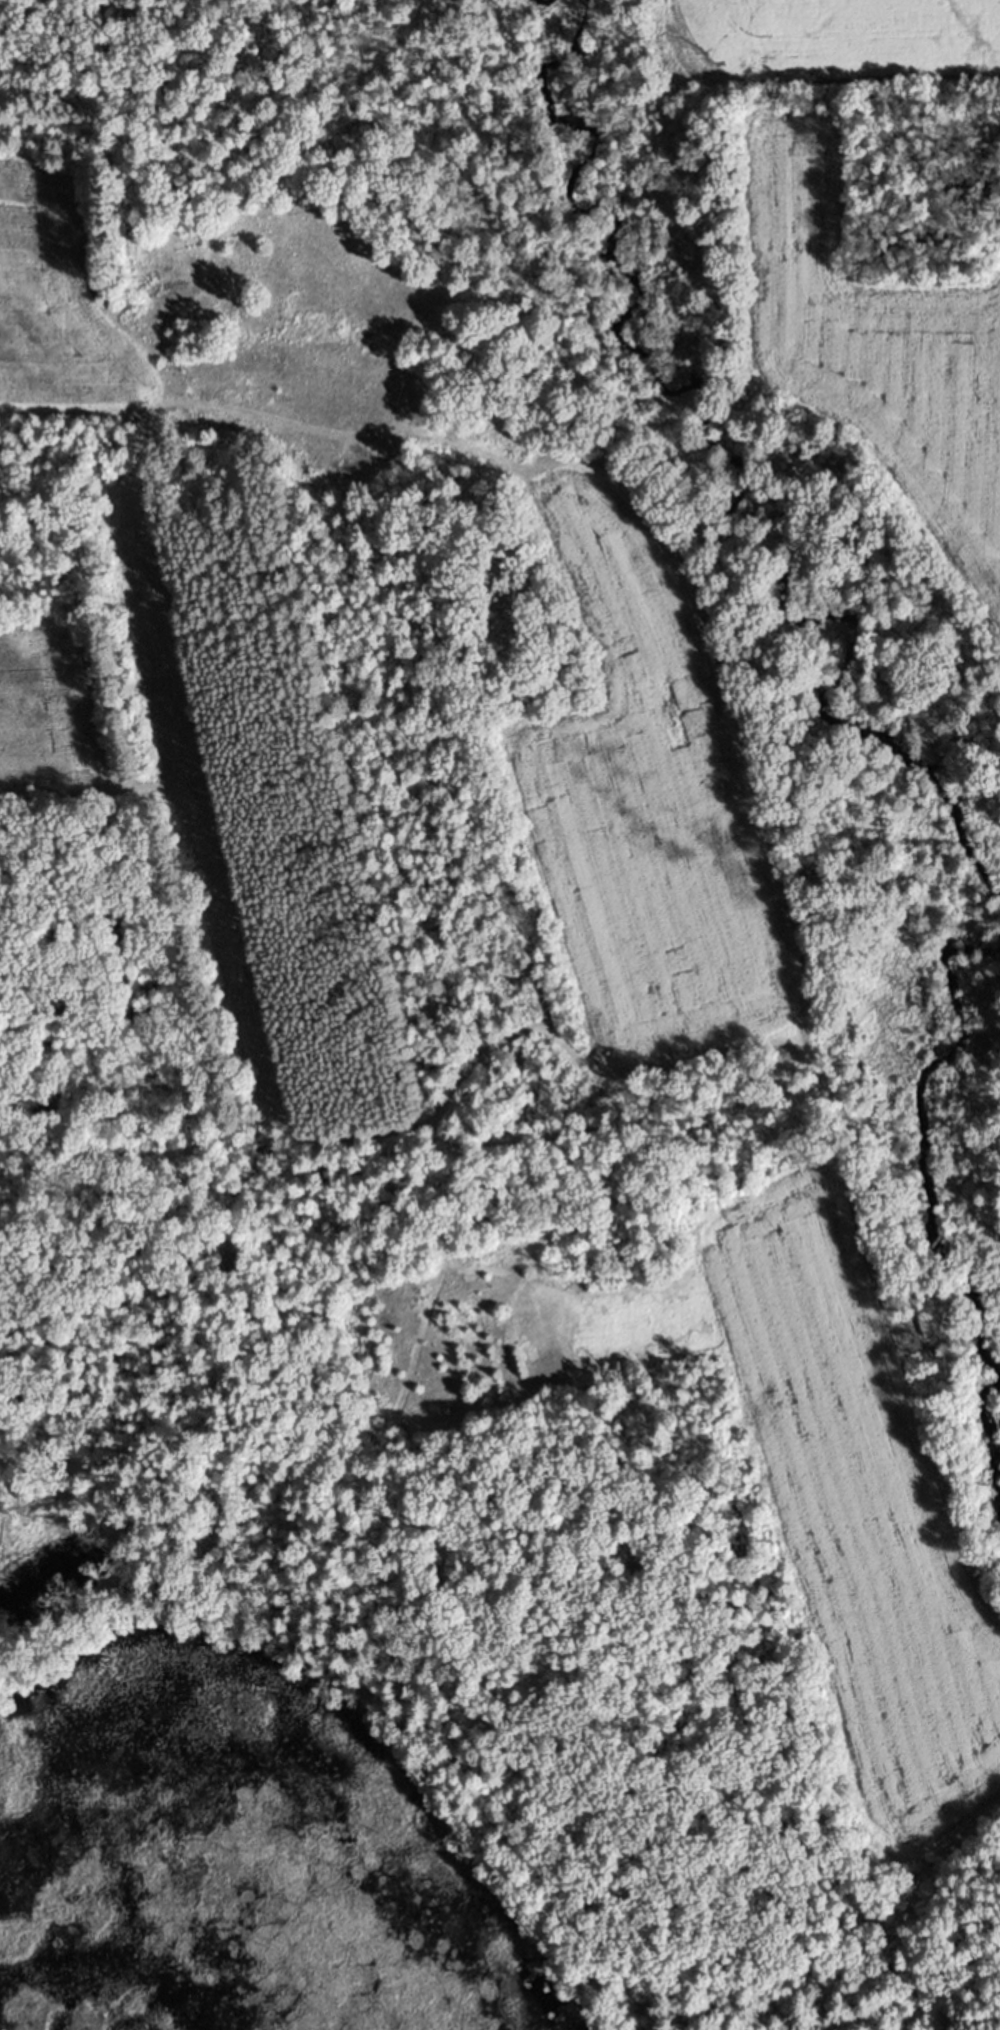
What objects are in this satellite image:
road: (879, 475)

